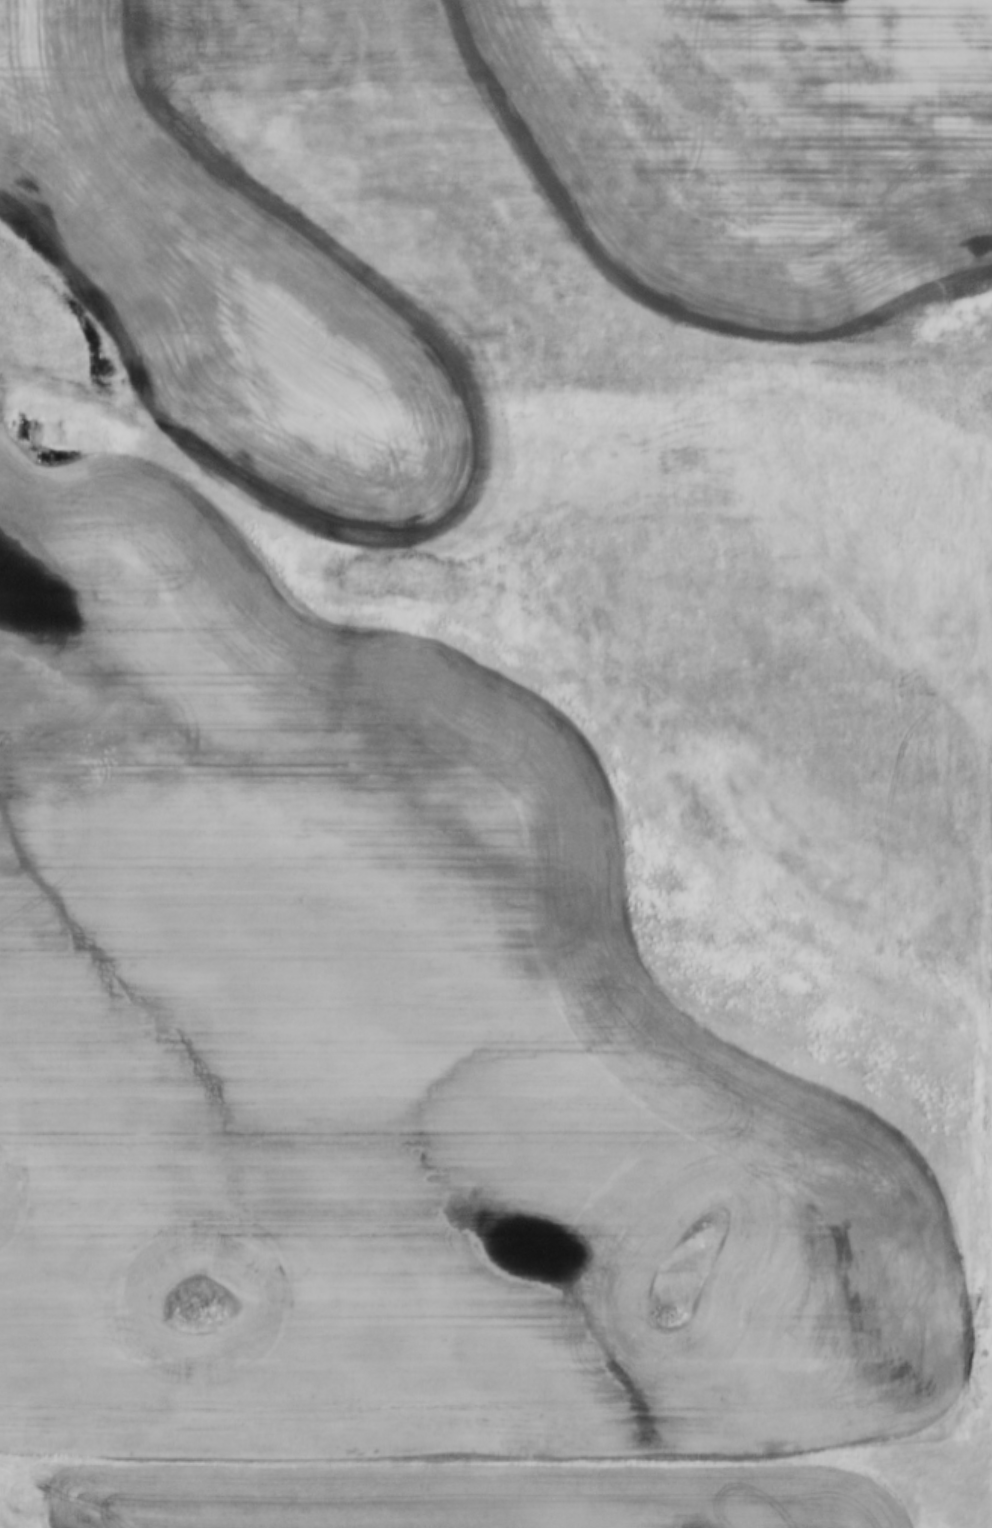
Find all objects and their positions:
road: (495, 1450)

